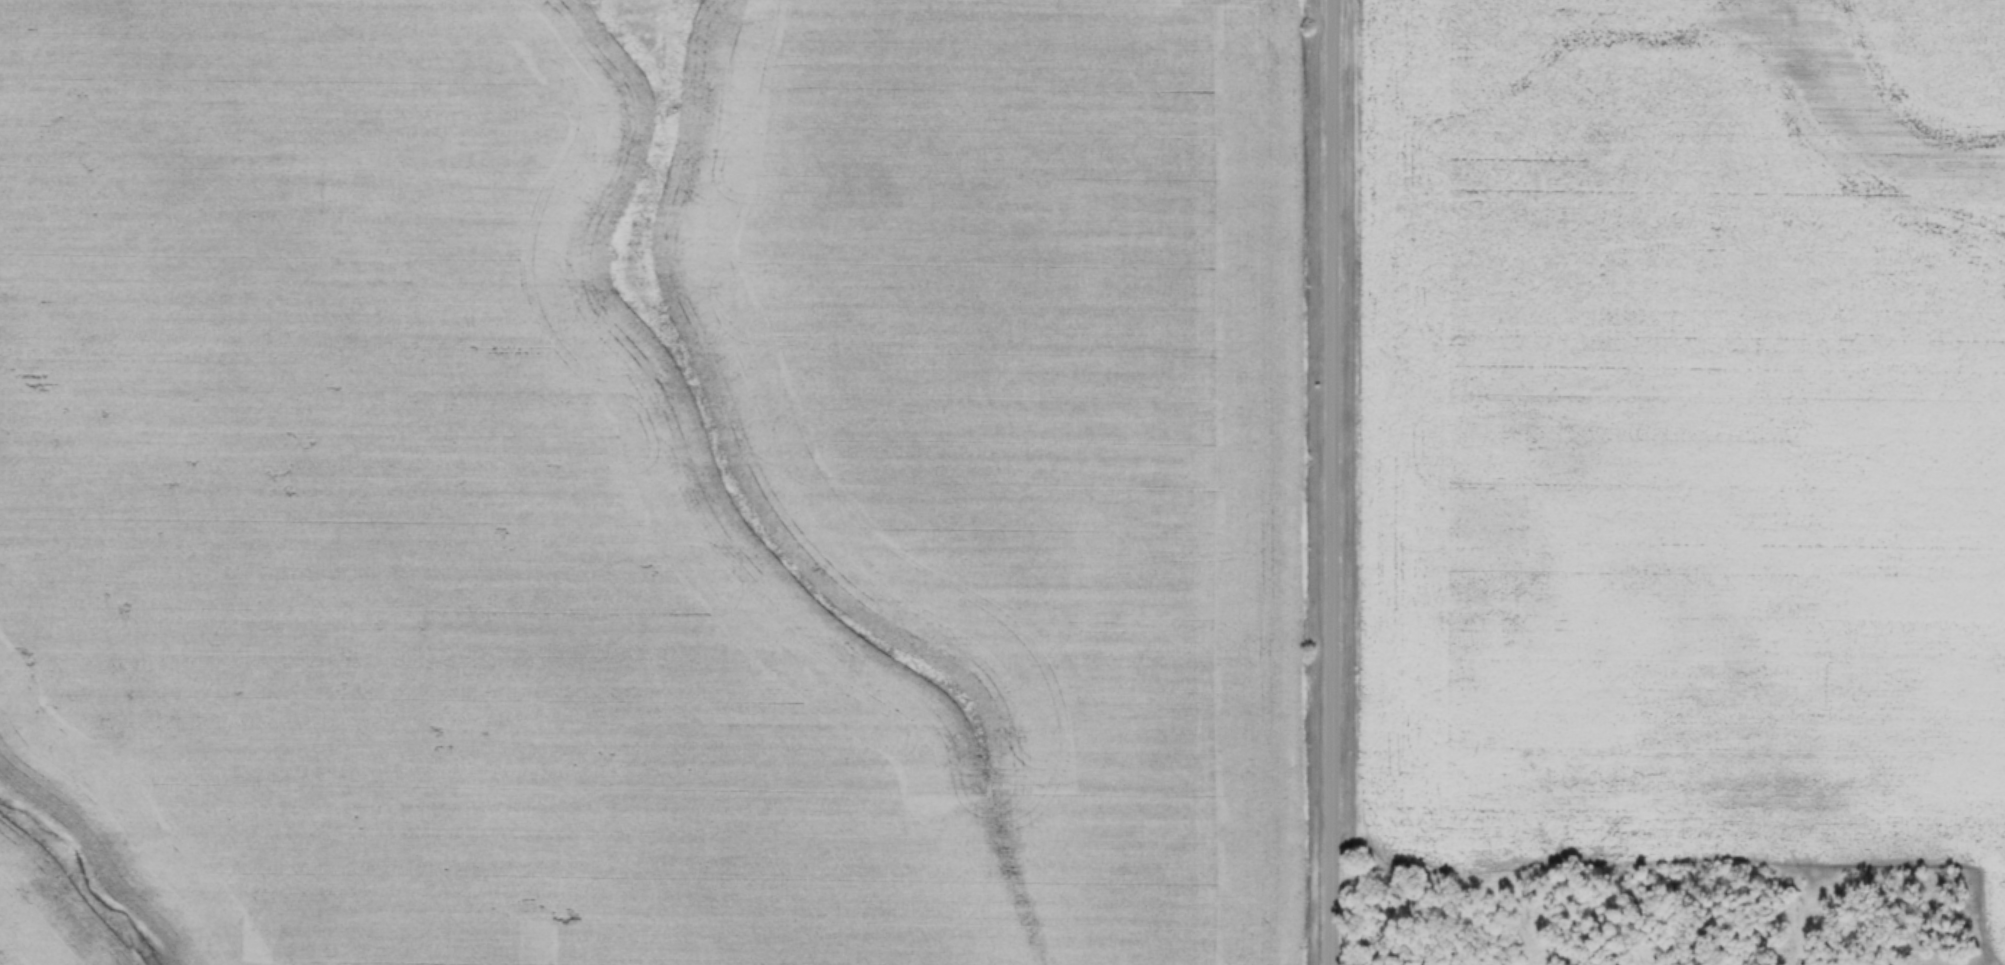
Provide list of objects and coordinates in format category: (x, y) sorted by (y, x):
road: (1335, 482)

